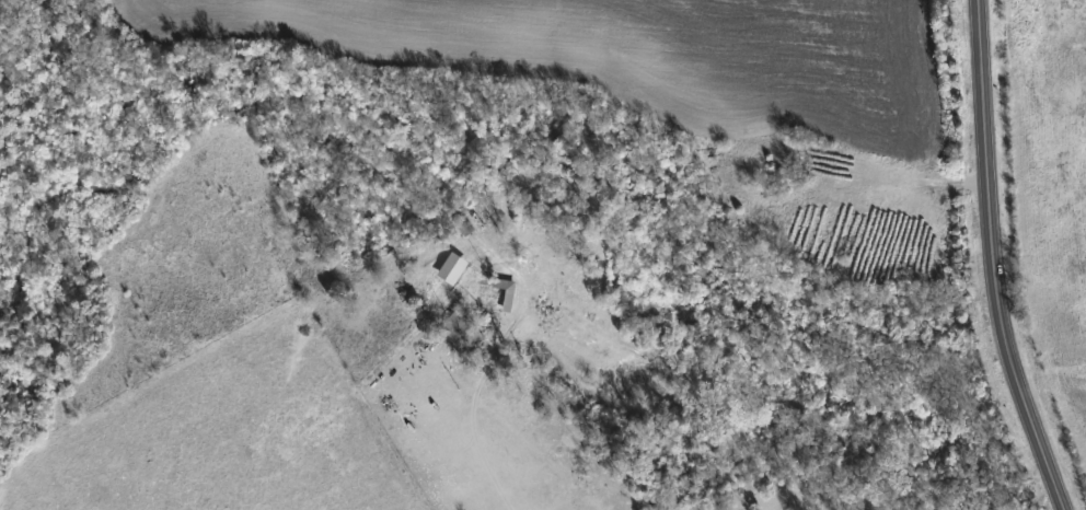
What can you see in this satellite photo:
road: (998, 259)
building: (500, 291)

